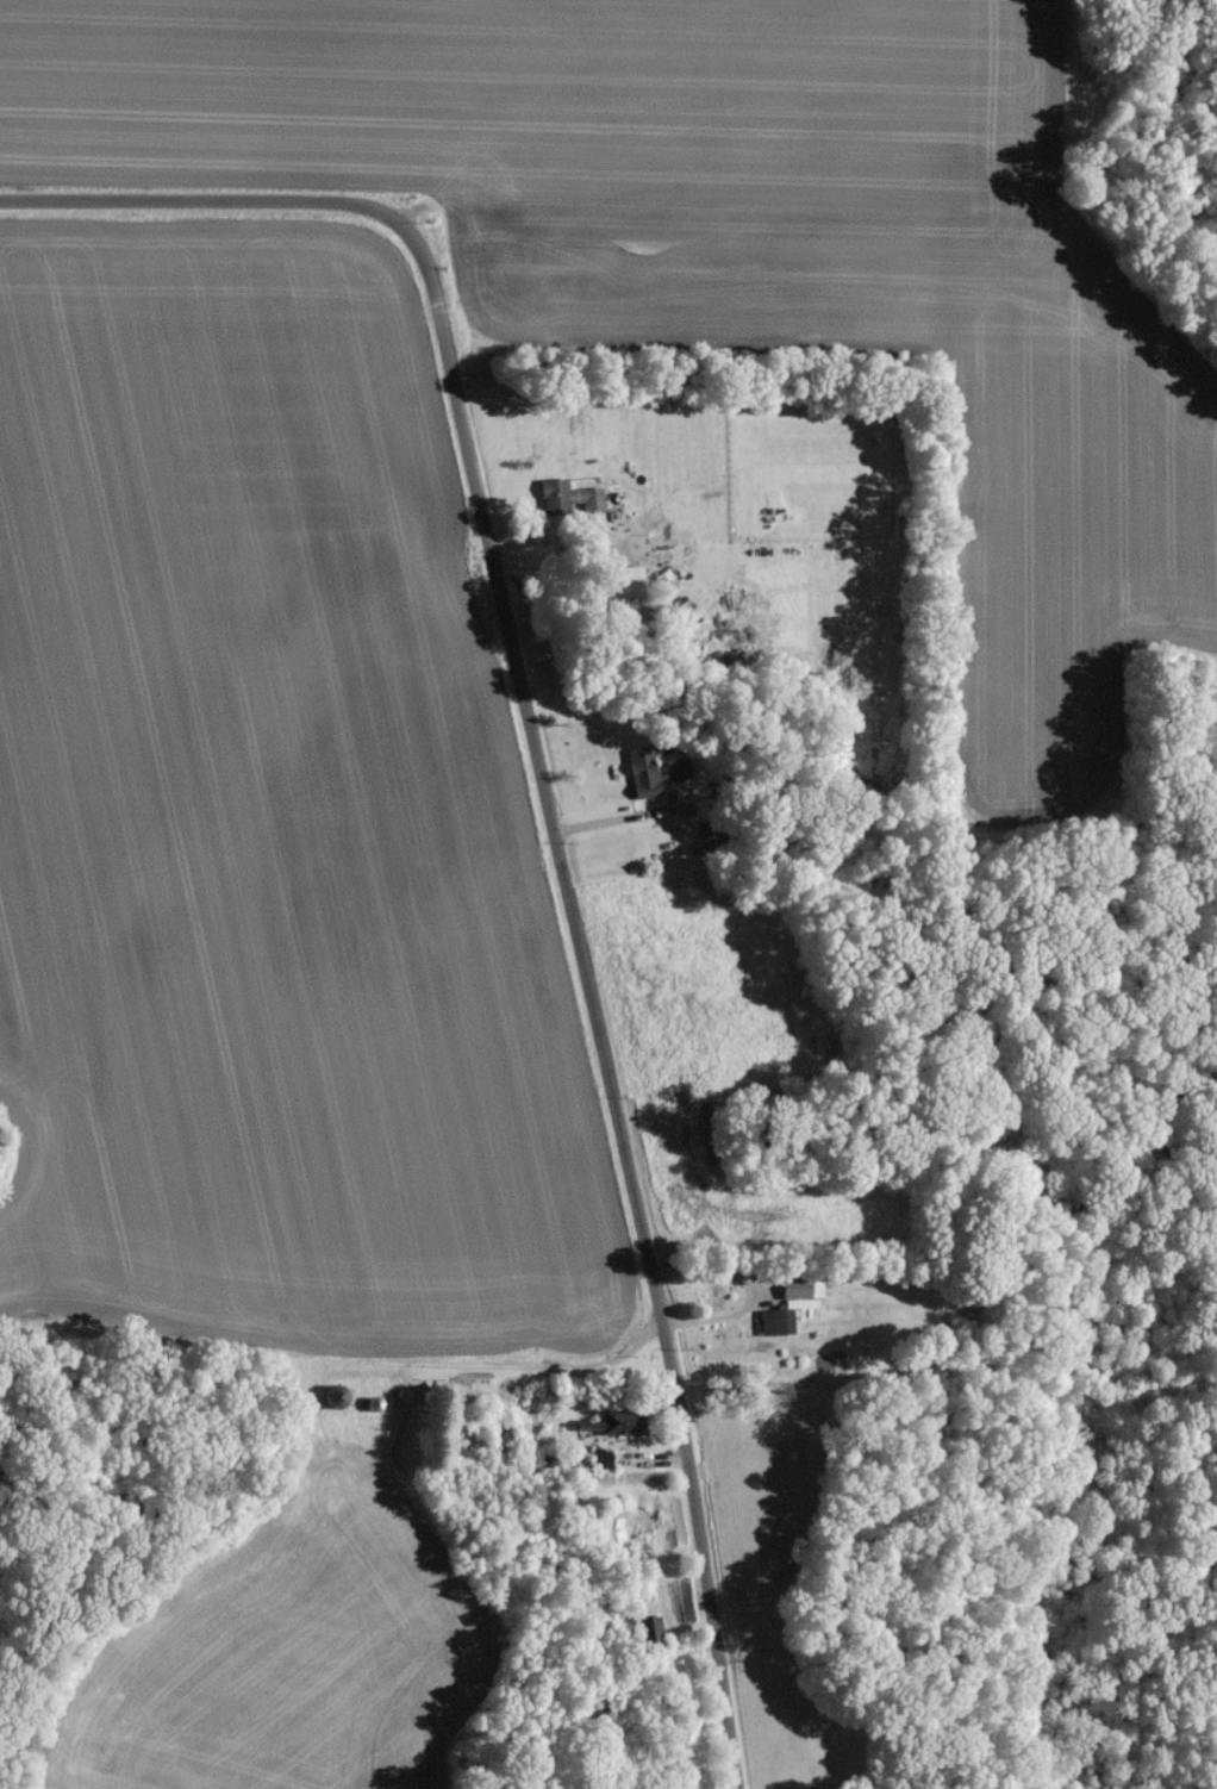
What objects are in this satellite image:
road: (214, 226)
building: (570, 494)
road: (531, 537)
building: (644, 771)
building: (680, 771)
road: (607, 819)
building: (714, 833)
road: (582, 1031)
road: (754, 1284)
building: (801, 1290)
building: (613, 1420)

